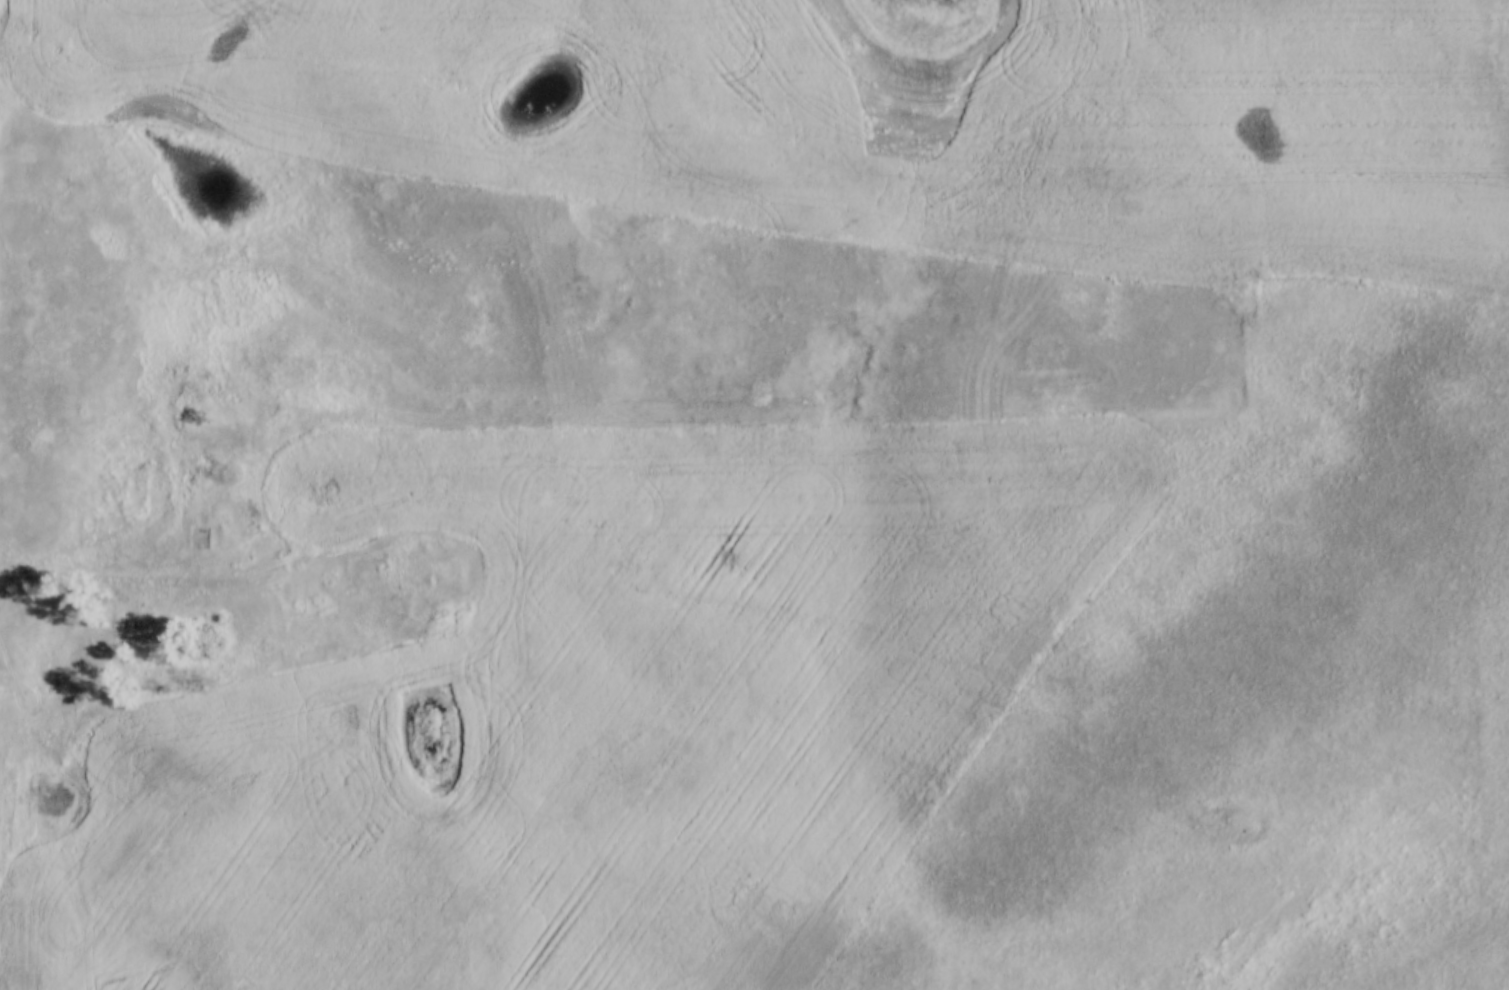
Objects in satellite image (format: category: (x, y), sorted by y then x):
building: (200, 539)
road: (109, 582)

